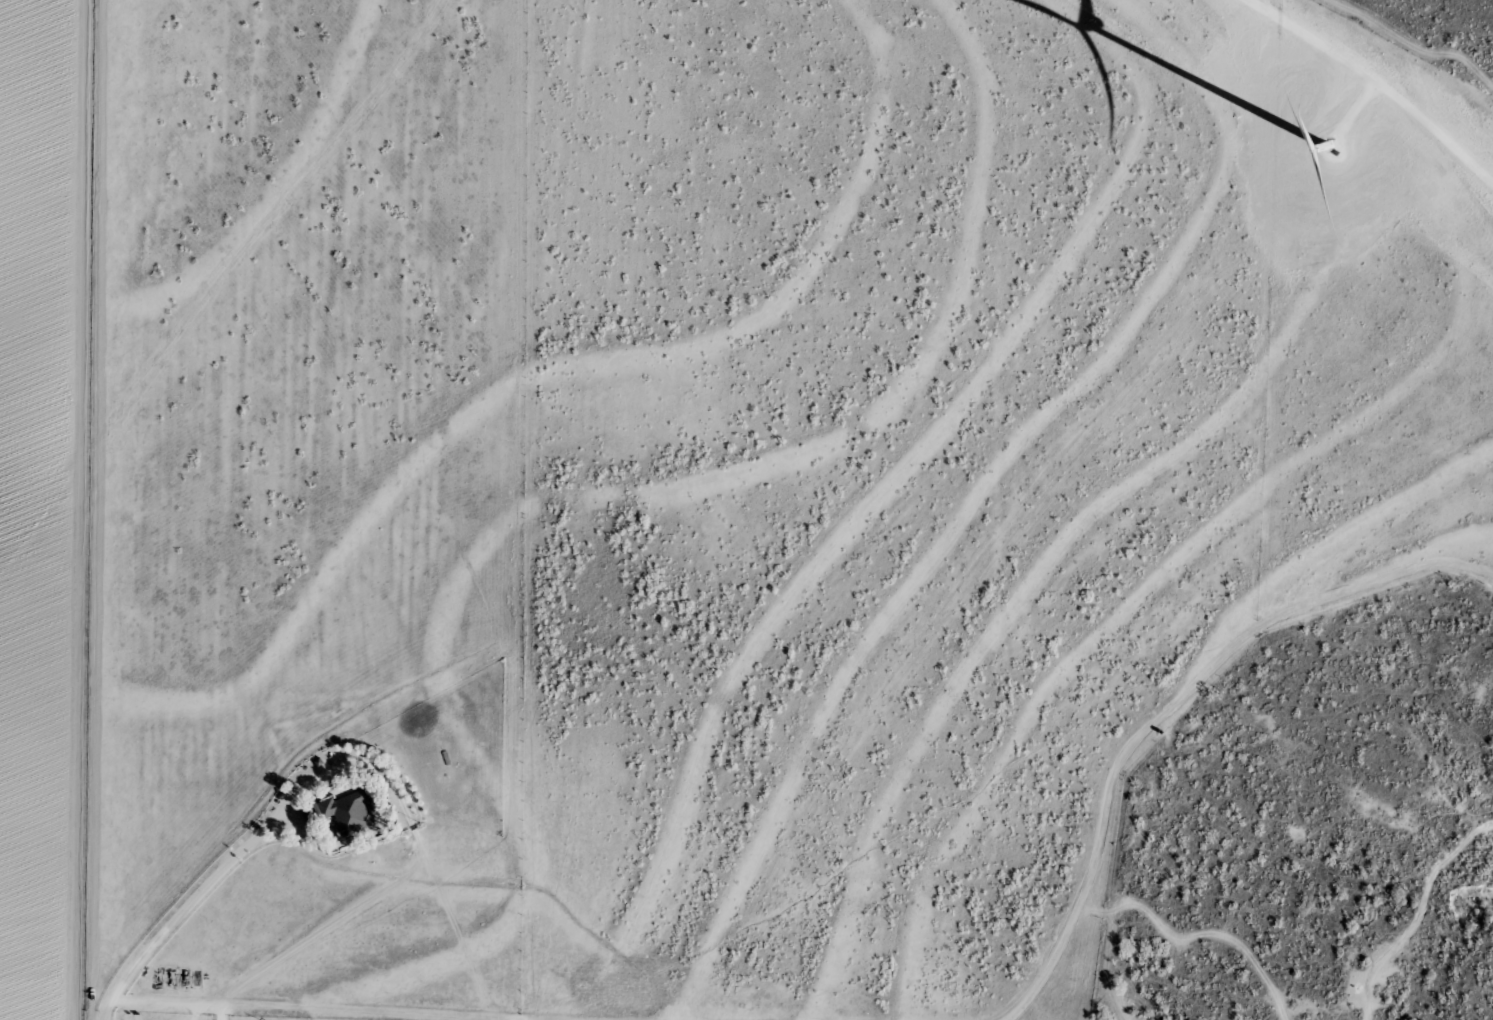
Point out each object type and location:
wind turbine: (1325, 148)
building: (345, 813)
road: (169, 924)

